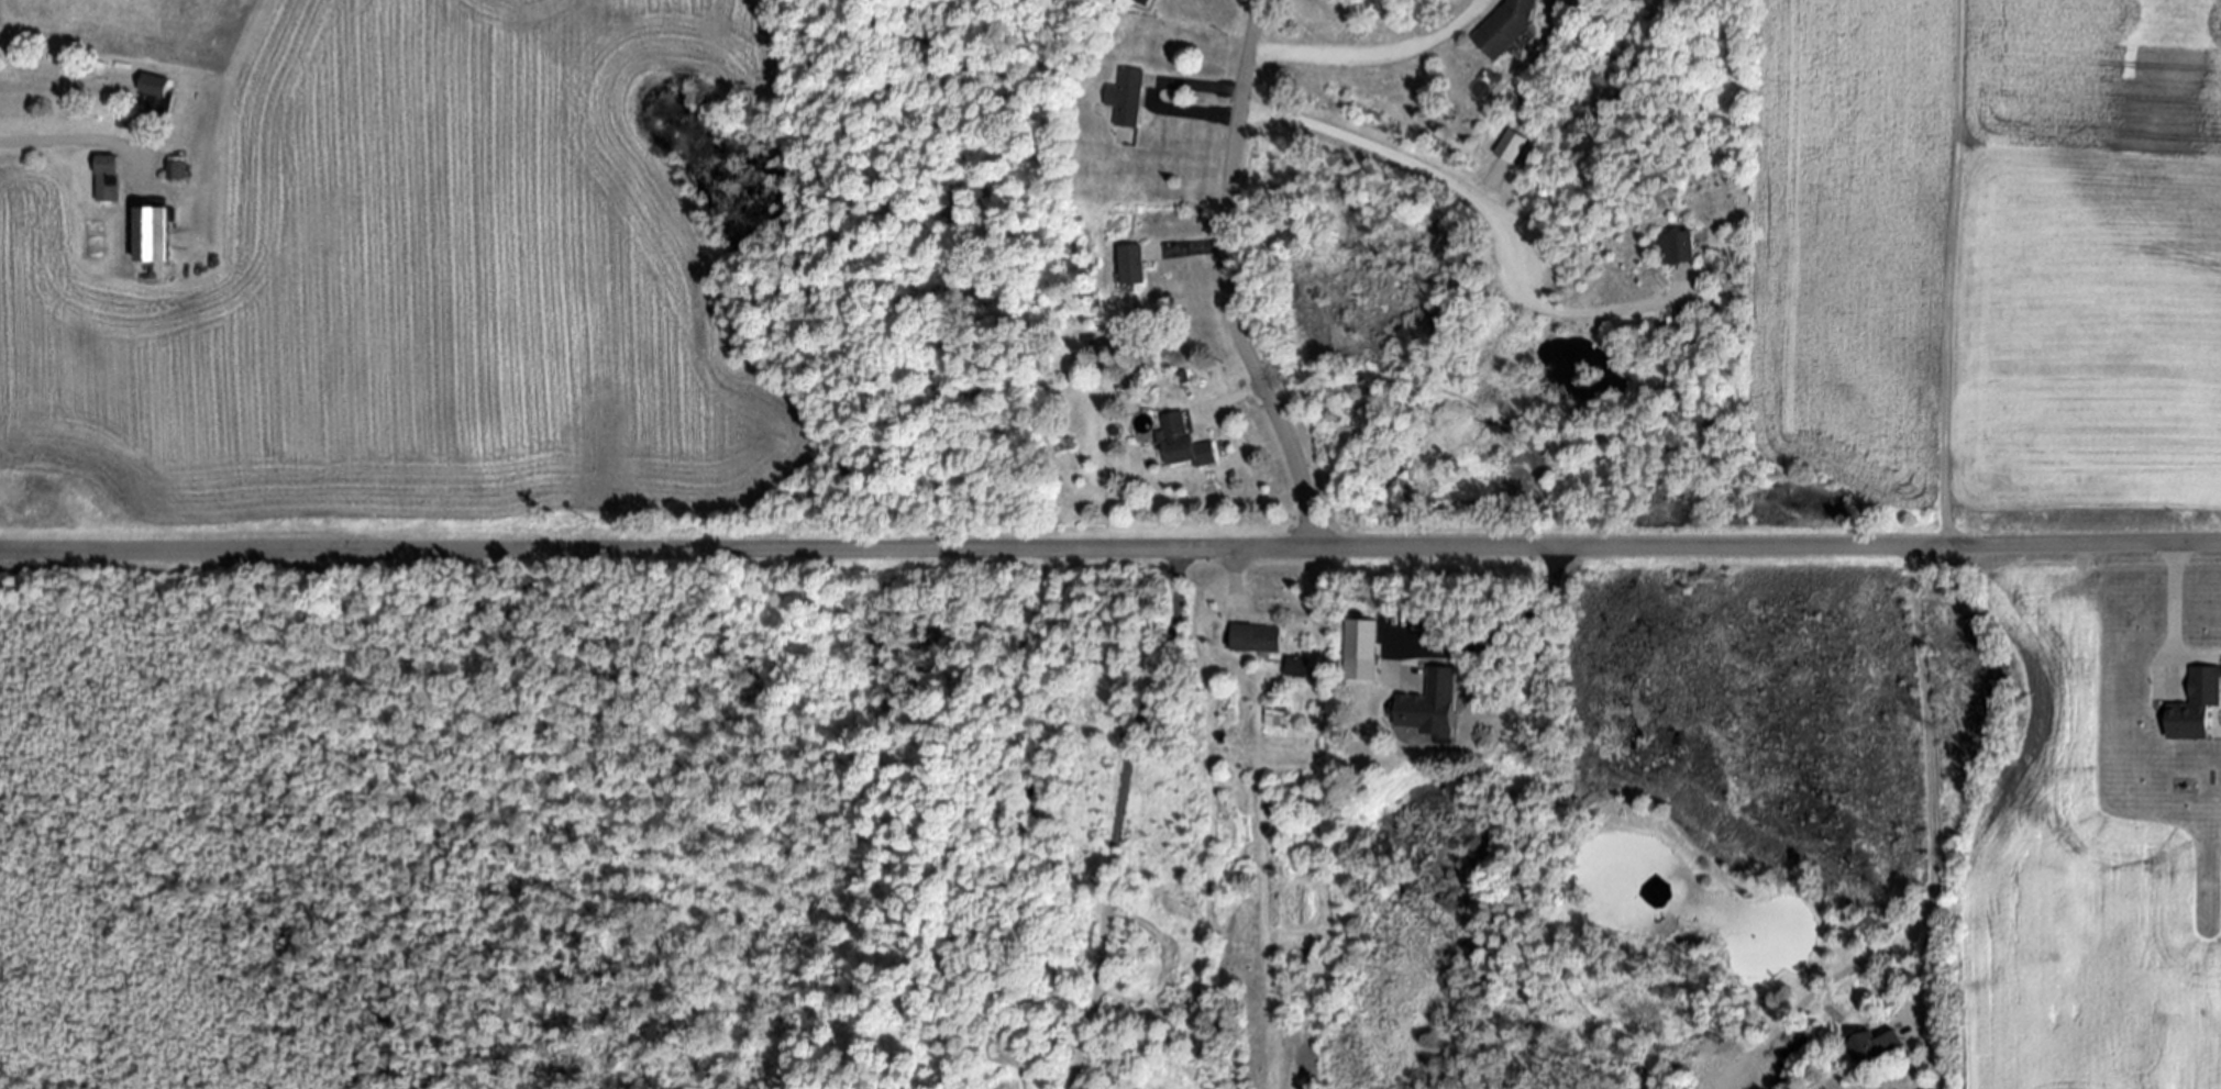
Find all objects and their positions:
building: (1565, 4)
building: (1509, 26)
road: (1374, 58)
road: (1209, 85)
building: (154, 89)
building: (1127, 96)
road: (74, 140)
building: (1512, 144)
building: (177, 169)
building: (108, 177)
road: (1446, 184)
building: (154, 232)
building: (1679, 246)
road: (1195, 252)
building: (1132, 264)
road: (1225, 279)
road: (1233, 397)
building: (1182, 442)
road: (1110, 547)
road: (1233, 577)
road: (2173, 612)
road: (1499, 635)
building: (1256, 637)
building: (1362, 649)
building: (1297, 667)
building: (1432, 705)
building: (2197, 705)
building: (1273, 718)
road: (1930, 779)
road: (1119, 816)
road: (1806, 991)
building: (1876, 1047)

